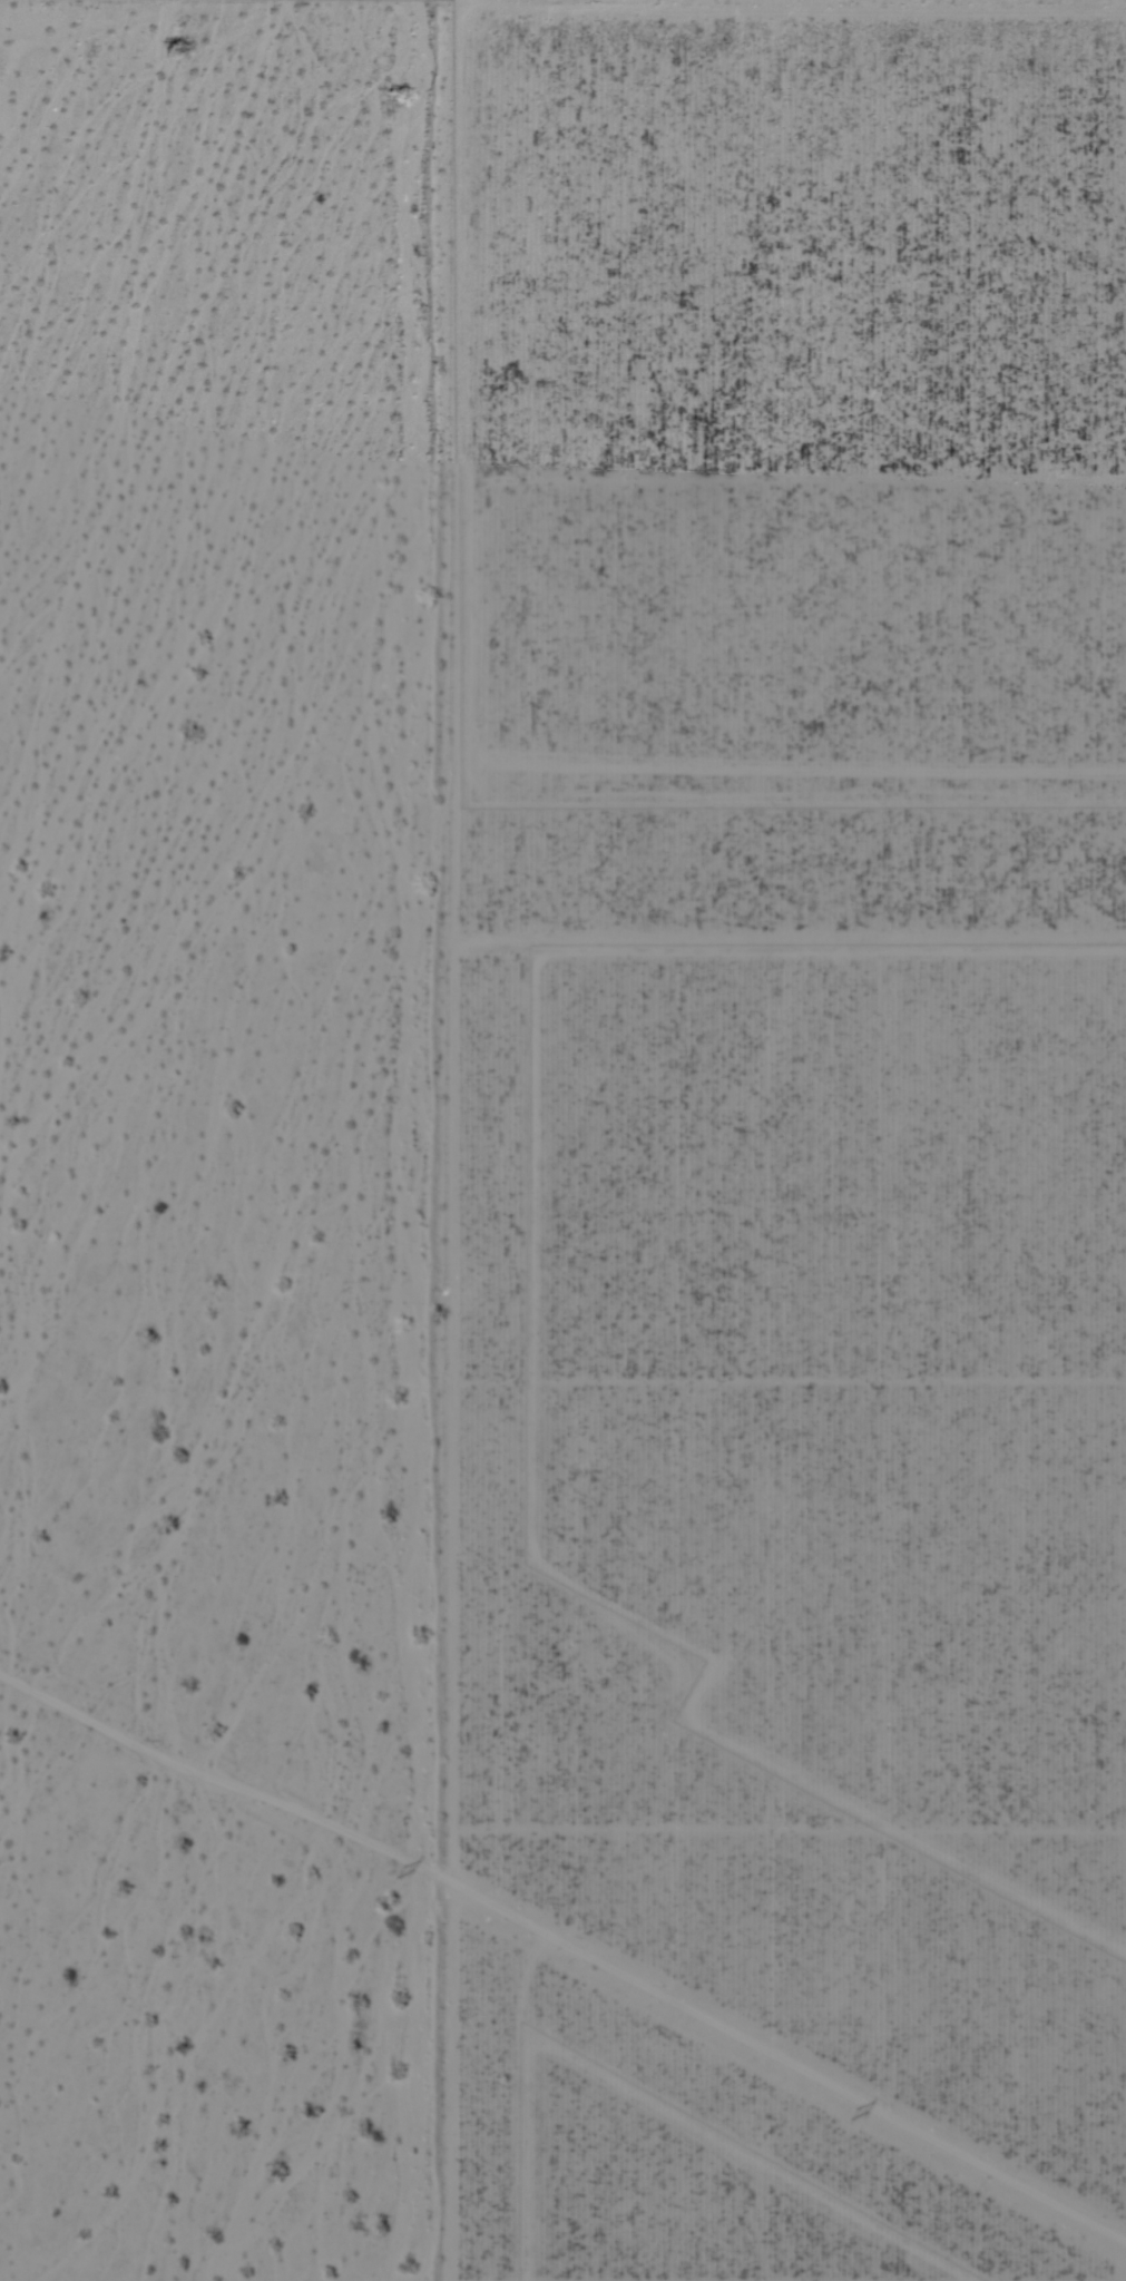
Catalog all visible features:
crop: (784, 1147)
power tower: (395, 1869)
power tower: (852, 2112)

